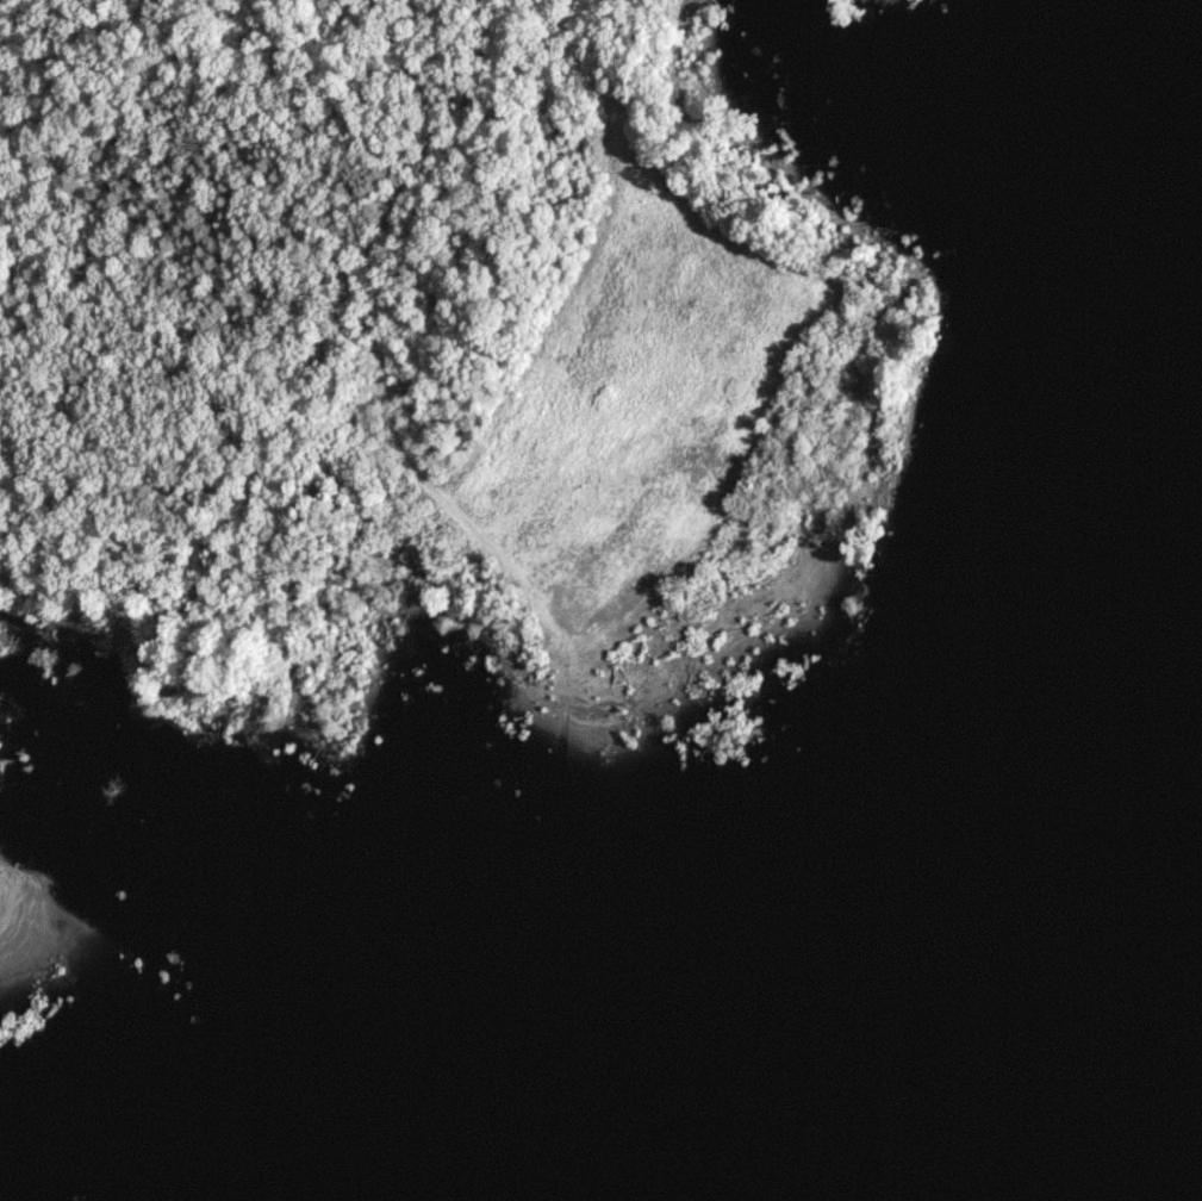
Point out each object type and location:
road: (668, 17)
road: (250, 279)
road: (113, 959)

